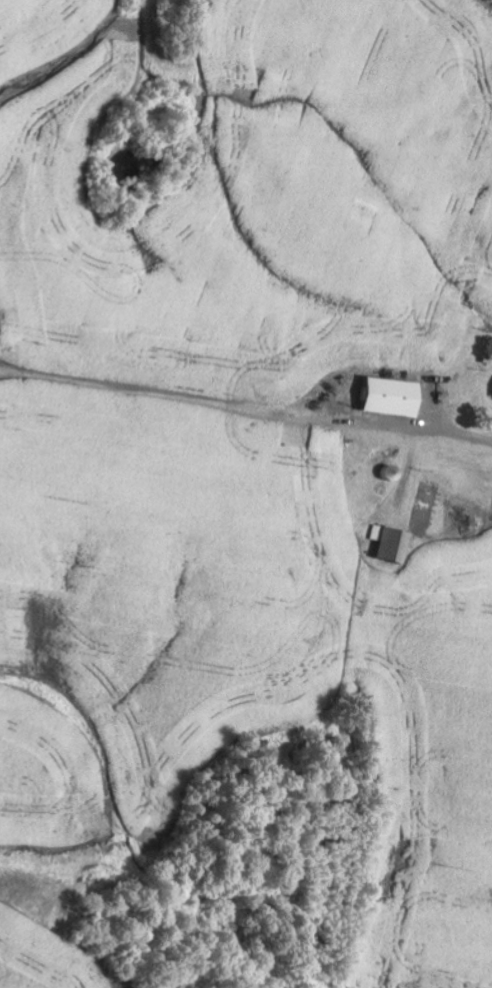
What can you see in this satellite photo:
building: (491, 394)
building: (382, 397)

